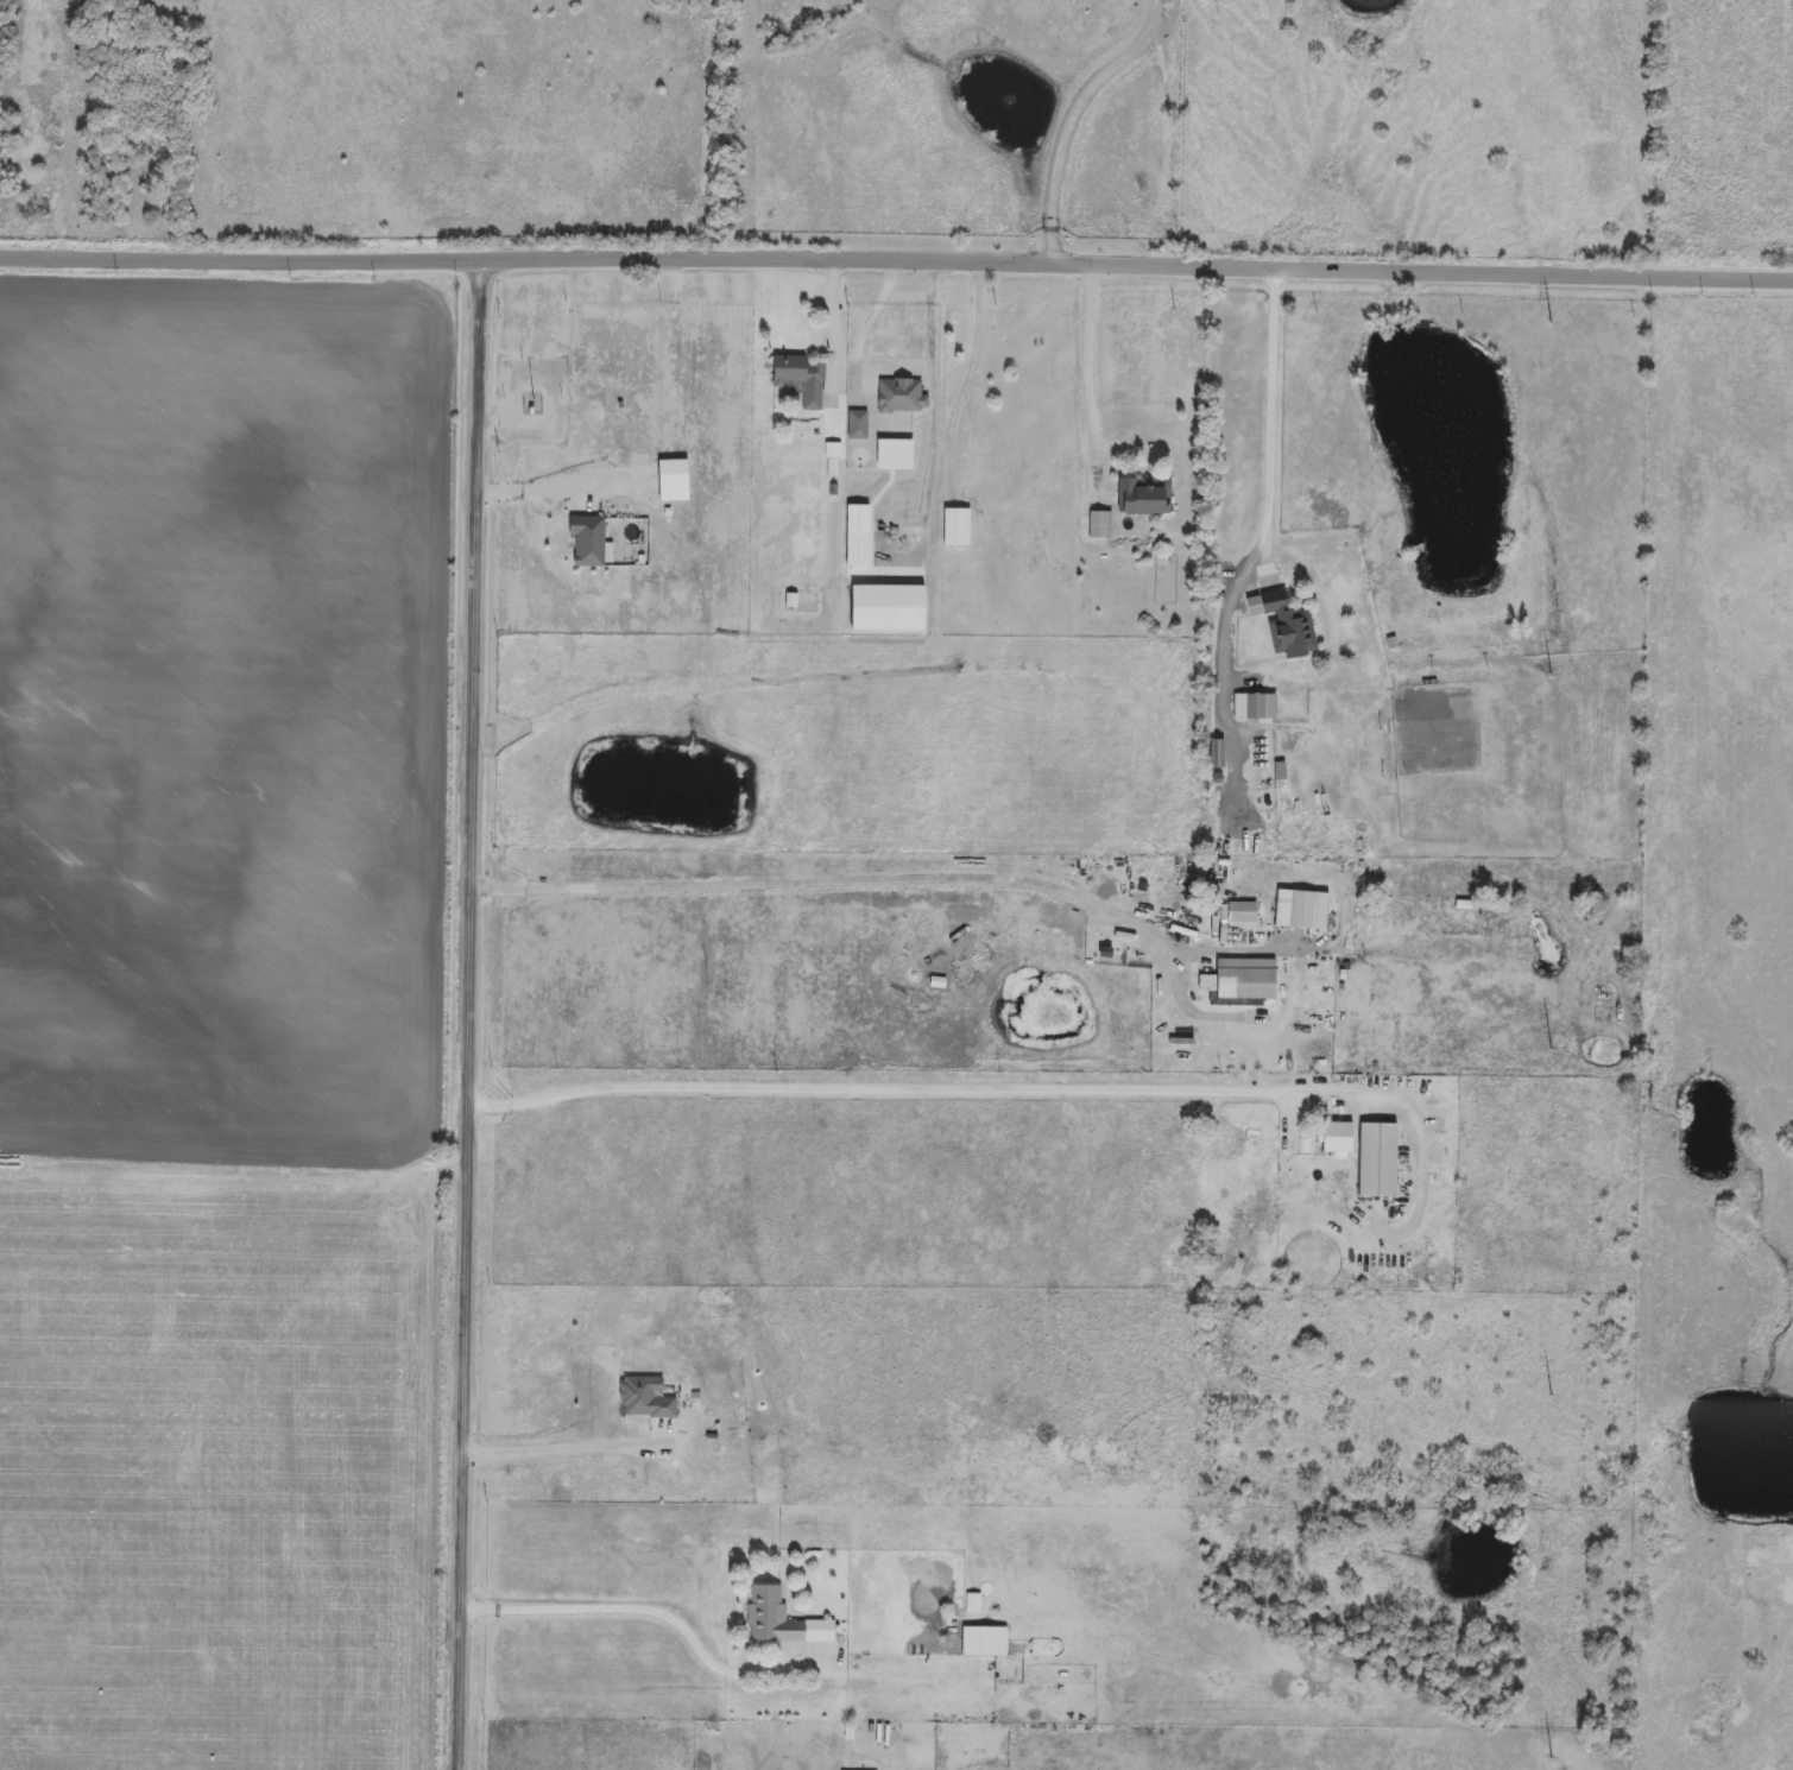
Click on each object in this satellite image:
road: (1079, 112)
road: (896, 258)
road: (832, 334)
road: (1088, 354)
building: (801, 380)
building: (901, 397)
road: (934, 407)
road: (1270, 424)
building: (858, 426)
building: (896, 457)
building: (674, 483)
road: (556, 493)
building: (1149, 500)
building: (958, 530)
building: (586, 542)
building: (858, 552)
building: (889, 611)
building: (1289, 626)
building: (1256, 709)
building: (1221, 756)
road: (850, 883)
building: (1303, 914)
building: (1242, 915)
building: (1248, 982)
building: (1605, 1011)
road: (473, 1019)
road: (922, 1089)
building: (1340, 1139)
building: (1380, 1162)
building: (644, 1401)
road: (569, 1446)
road: (648, 1612)
building: (779, 1622)
building: (984, 1644)

